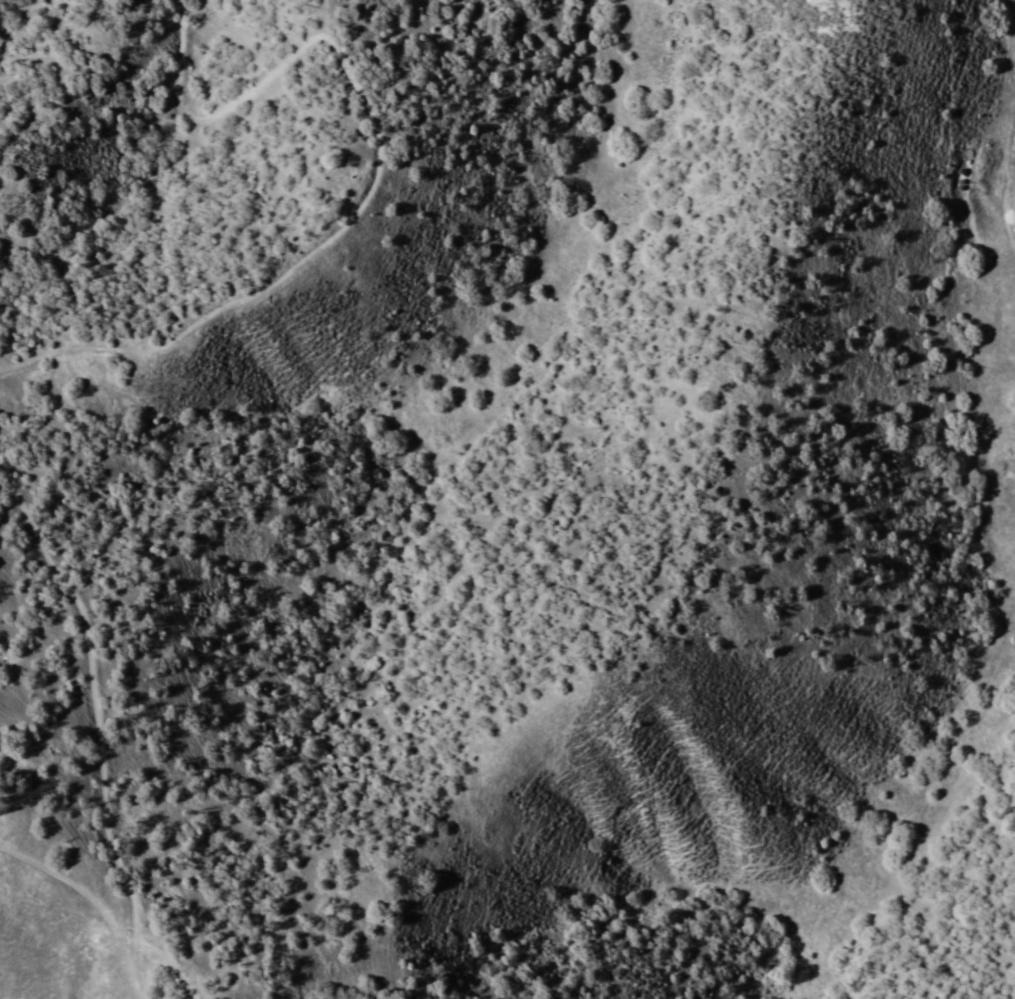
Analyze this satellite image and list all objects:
road: (372, 181)
building: (1014, 190)
road: (91, 725)
road: (87, 895)
road: (168, 970)

